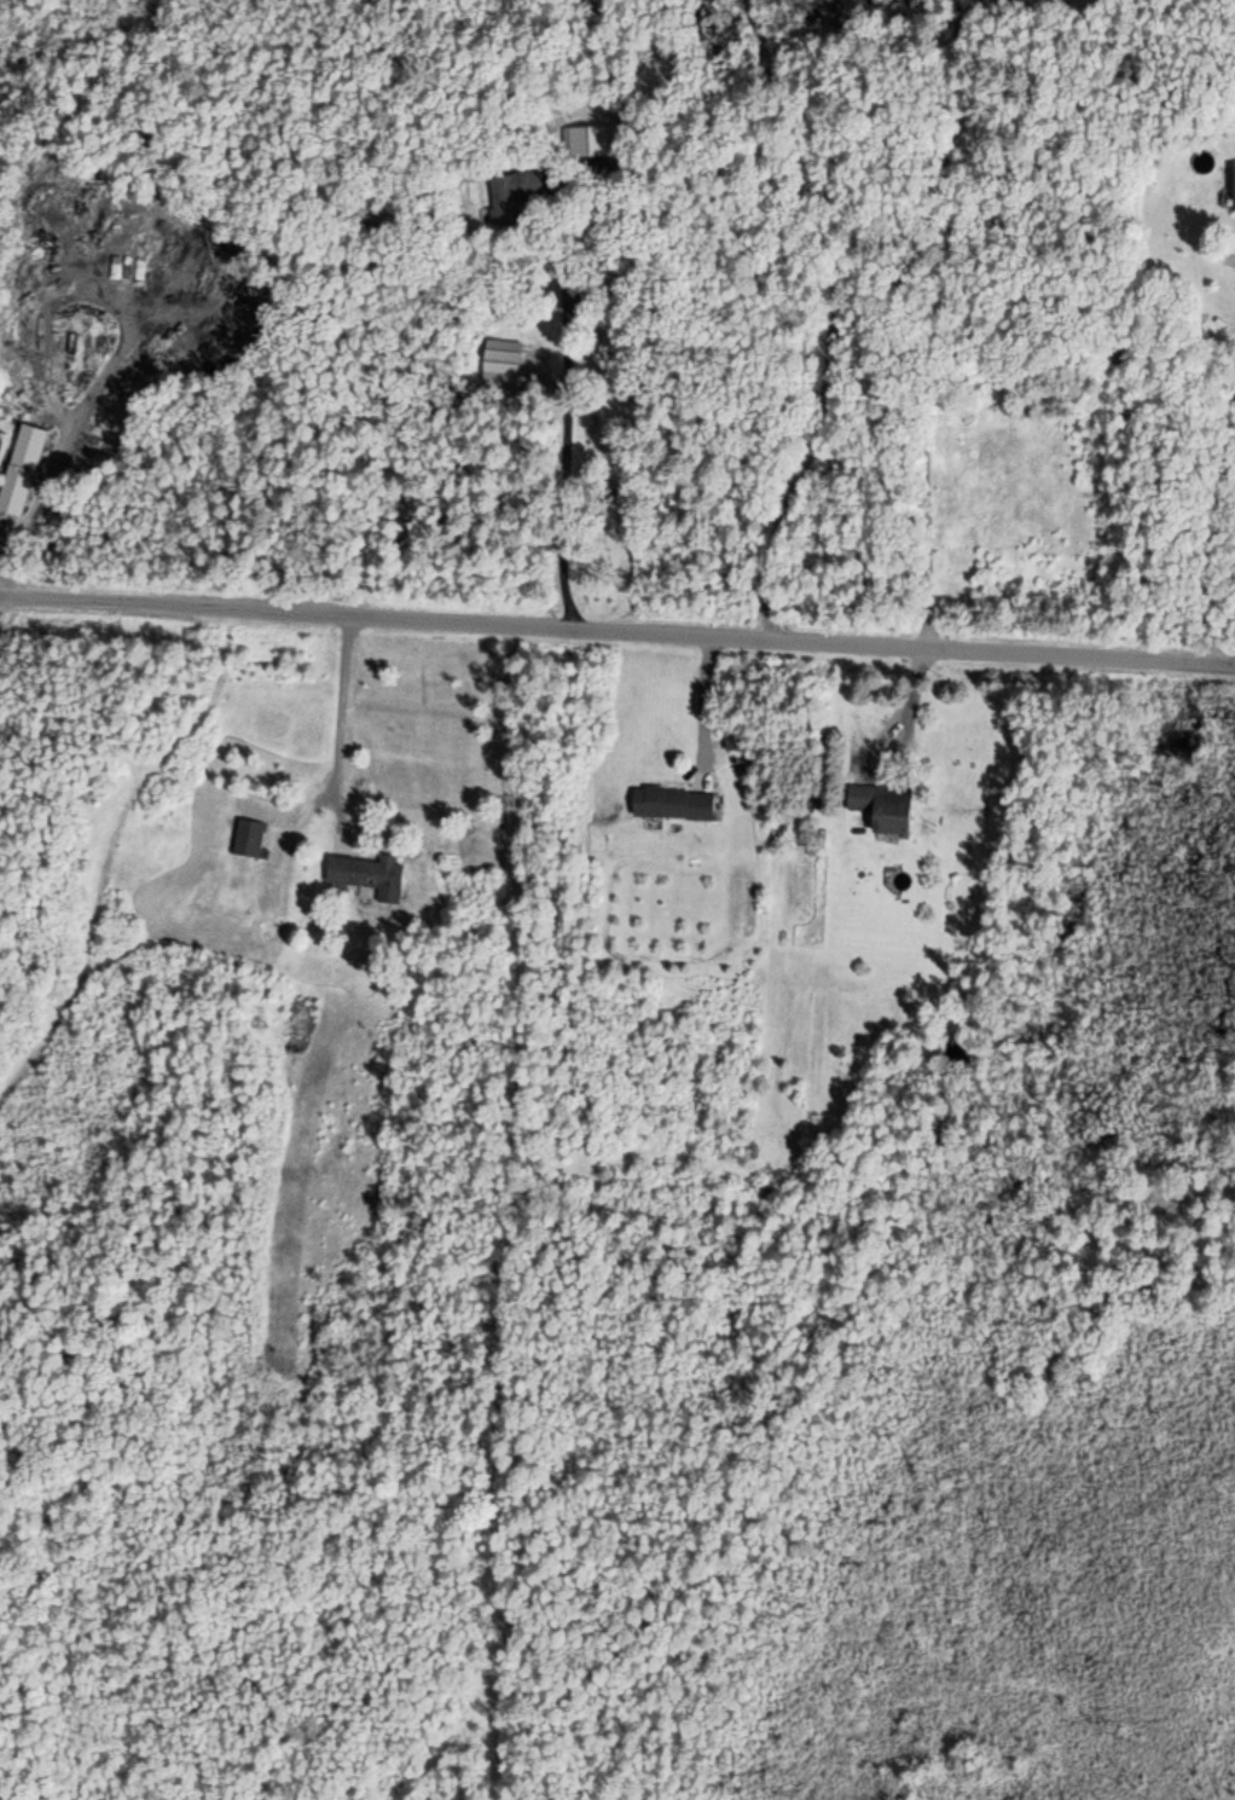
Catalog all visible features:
building: (511, 189)
road: (747, 317)
road: (920, 371)
road: (555, 447)
building: (23, 469)
road: (1217, 523)
road: (616, 631)
road: (703, 690)
road: (338, 701)
building: (676, 803)
building: (888, 808)
building: (251, 838)
building: (371, 875)
road: (501, 1211)

